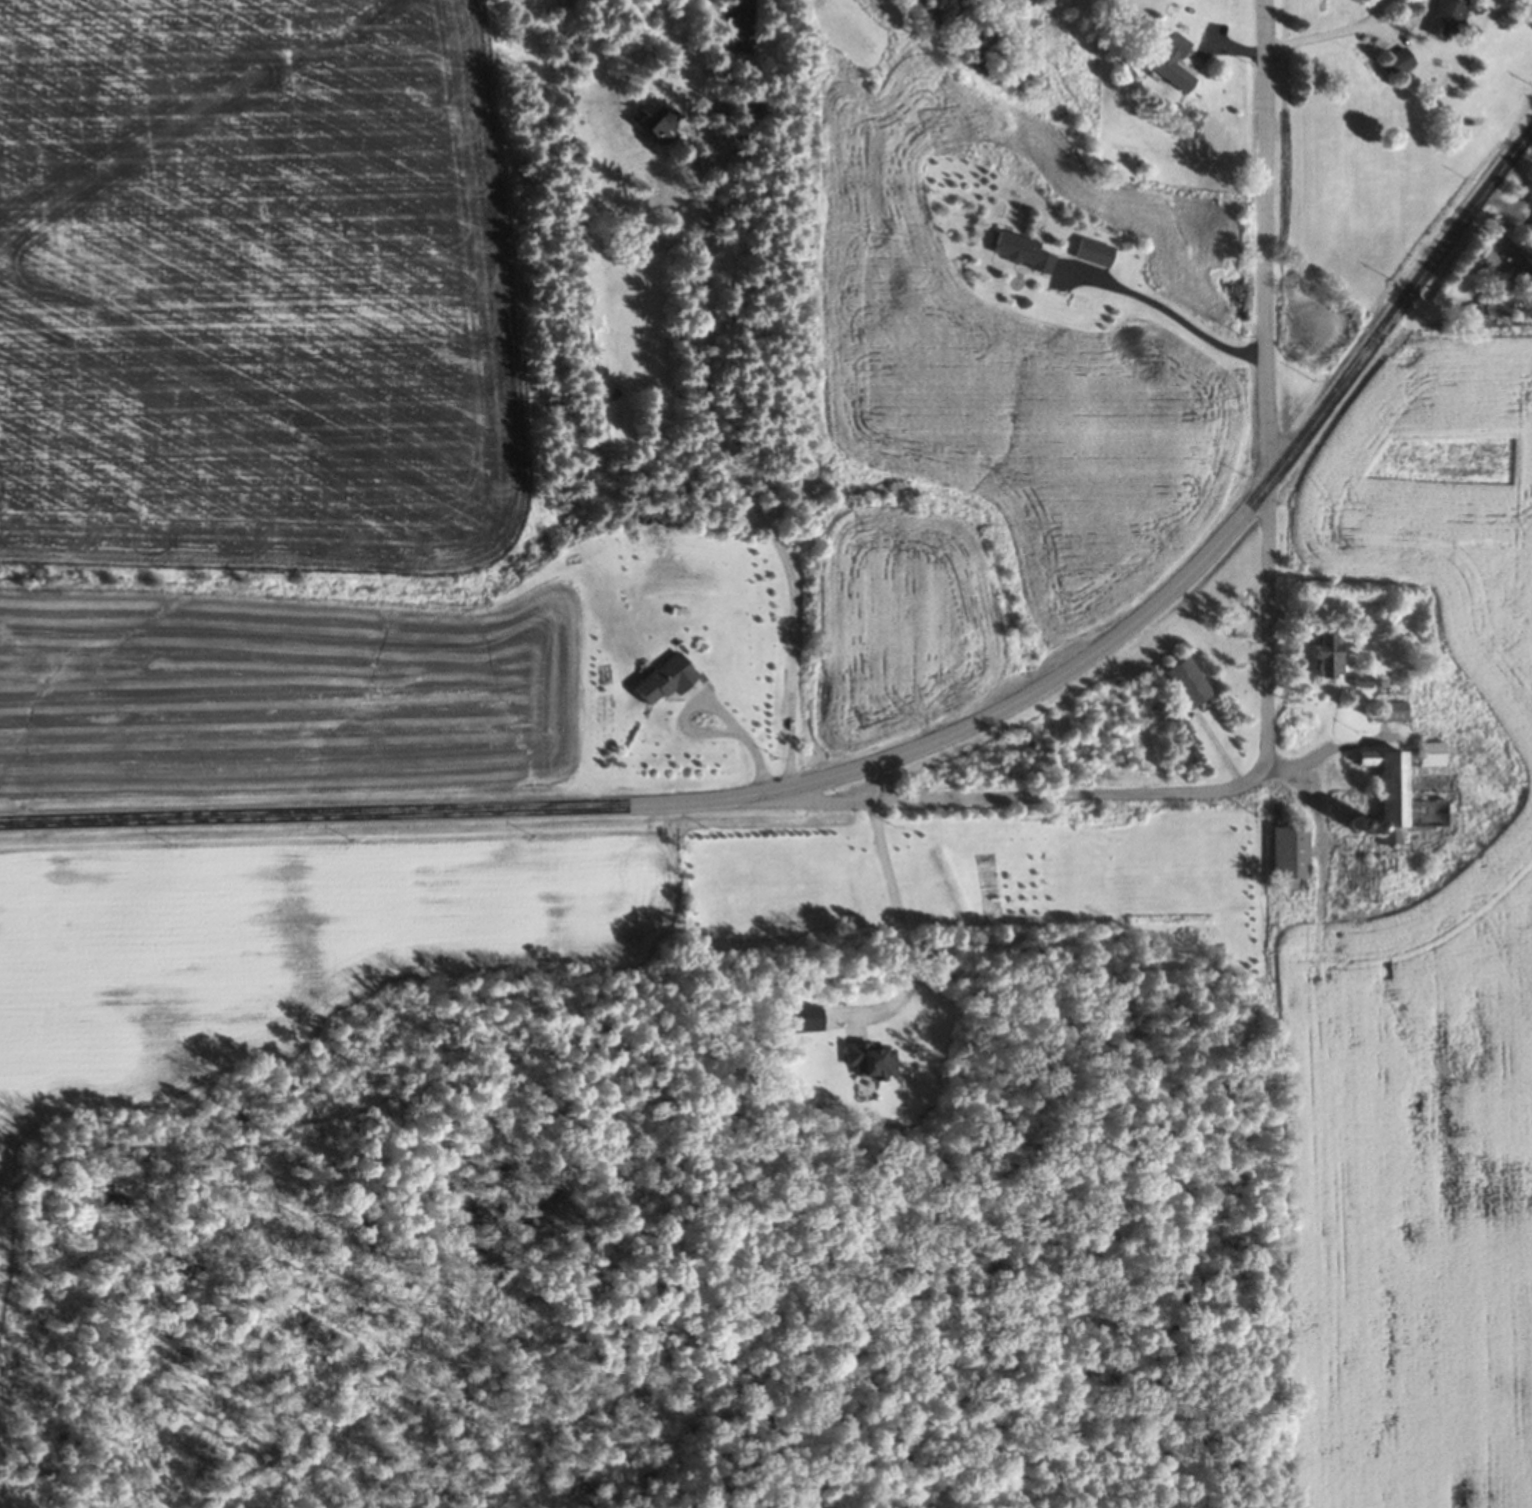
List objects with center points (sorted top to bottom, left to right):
building: (1447, 18)
building: (1400, 61)
building: (1173, 63)
building: (754, 112)
building: (655, 118)
building: (1021, 251)
building: (1094, 252)
building: (1518, 274)
road: (710, 421)
road: (1268, 627)
building: (1329, 653)
building: (666, 679)
building: (1187, 681)
building: (1390, 710)
building: (1432, 753)
road: (898, 754)
building: (1404, 796)
building: (1291, 856)
road: (901, 925)
building: (870, 1058)

